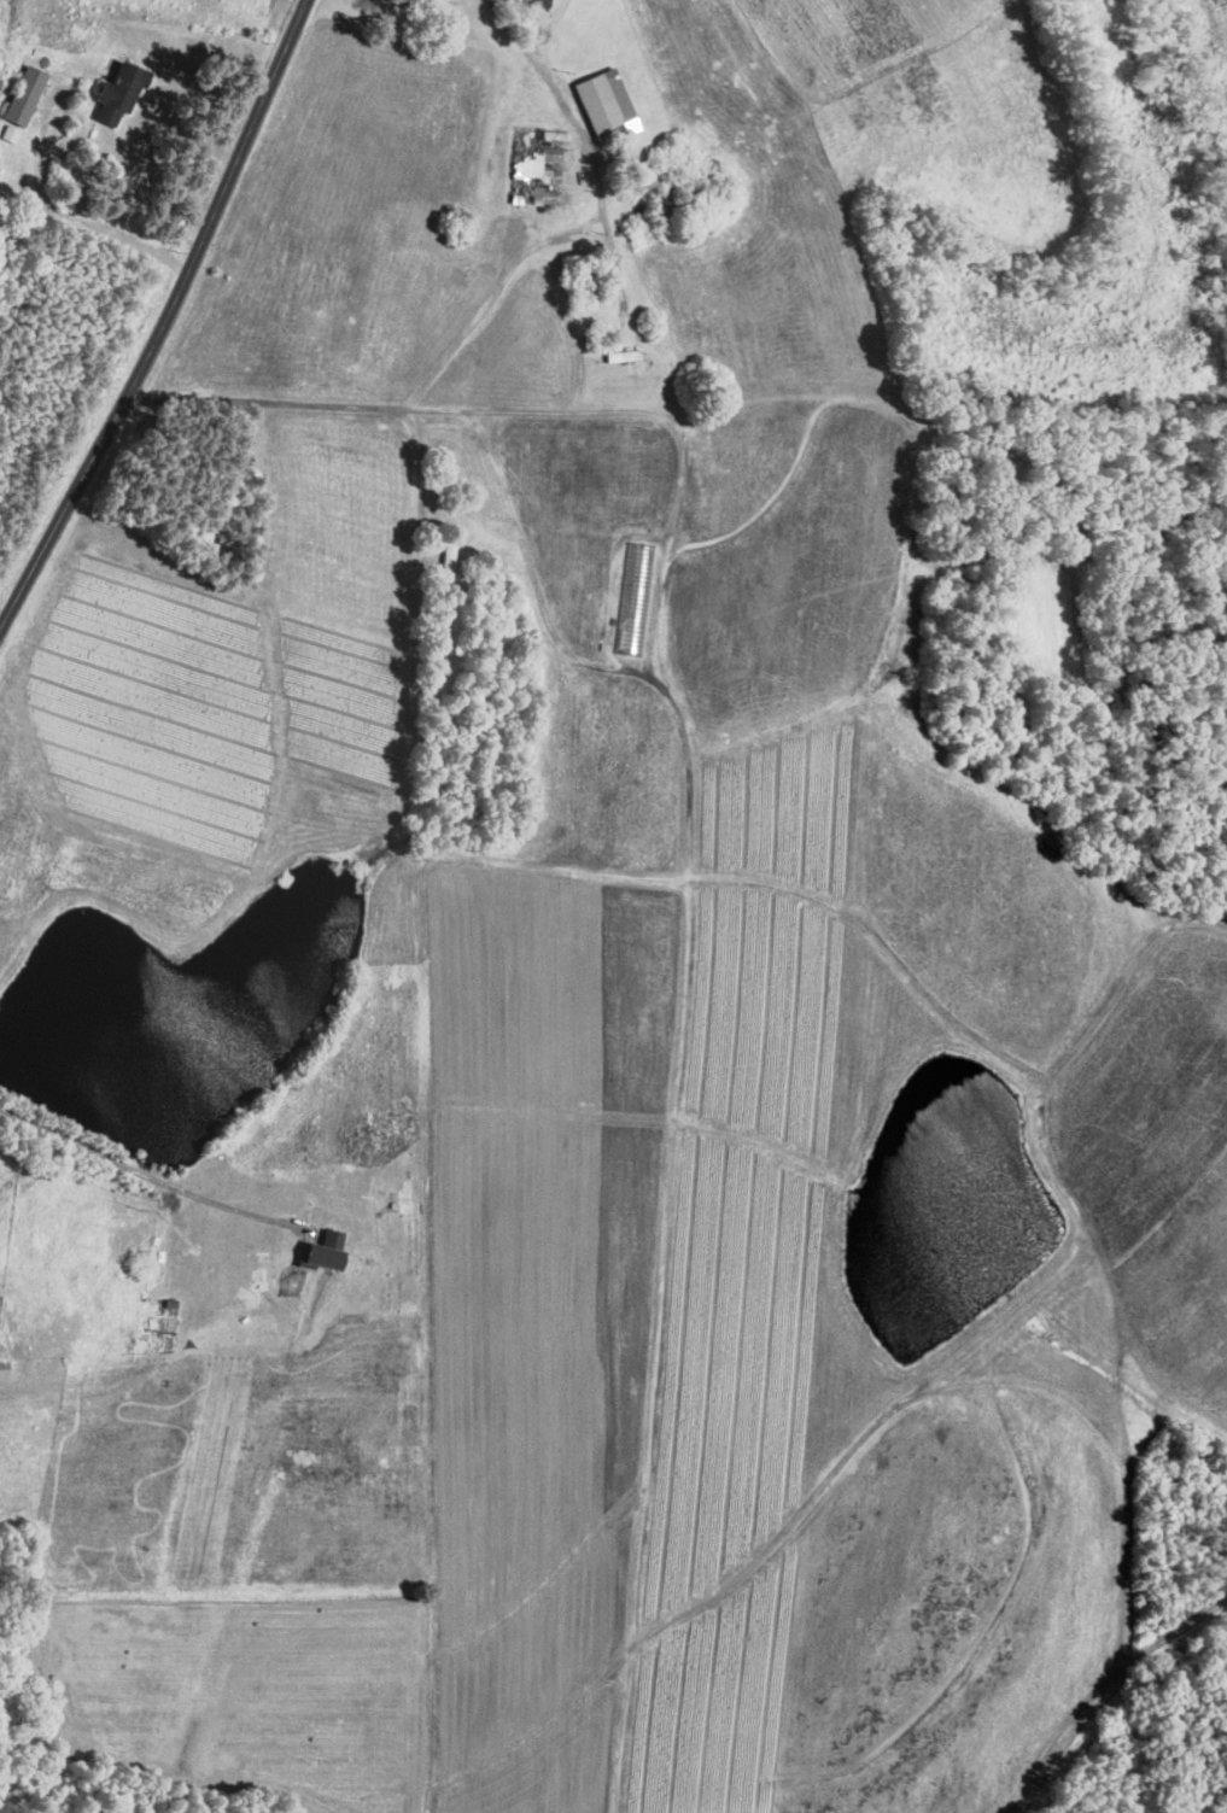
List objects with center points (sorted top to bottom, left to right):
building: (537, 2)
road: (553, 30)
building: (116, 93)
building: (601, 99)
building: (19, 103)
road: (477, 315)
road: (165, 318)
road: (668, 419)
building: (446, 557)
road: (146, 1171)
road: (664, 1240)
building: (321, 1250)

